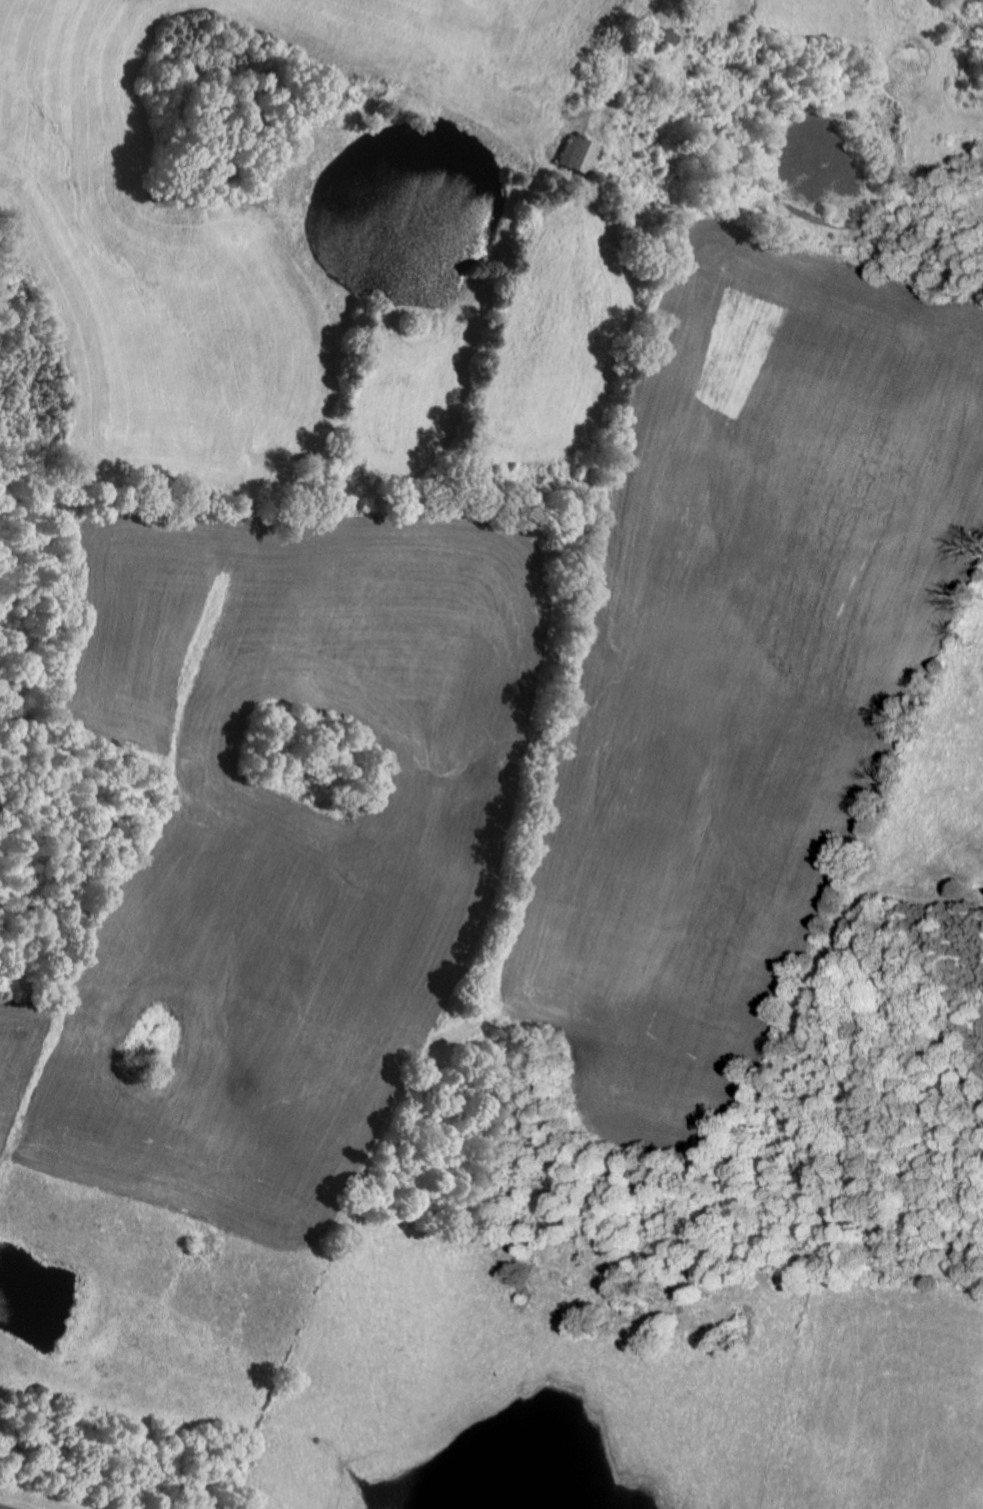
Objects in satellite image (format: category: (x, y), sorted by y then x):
building: (660, 35)
building: (577, 155)
building: (3, 1508)

